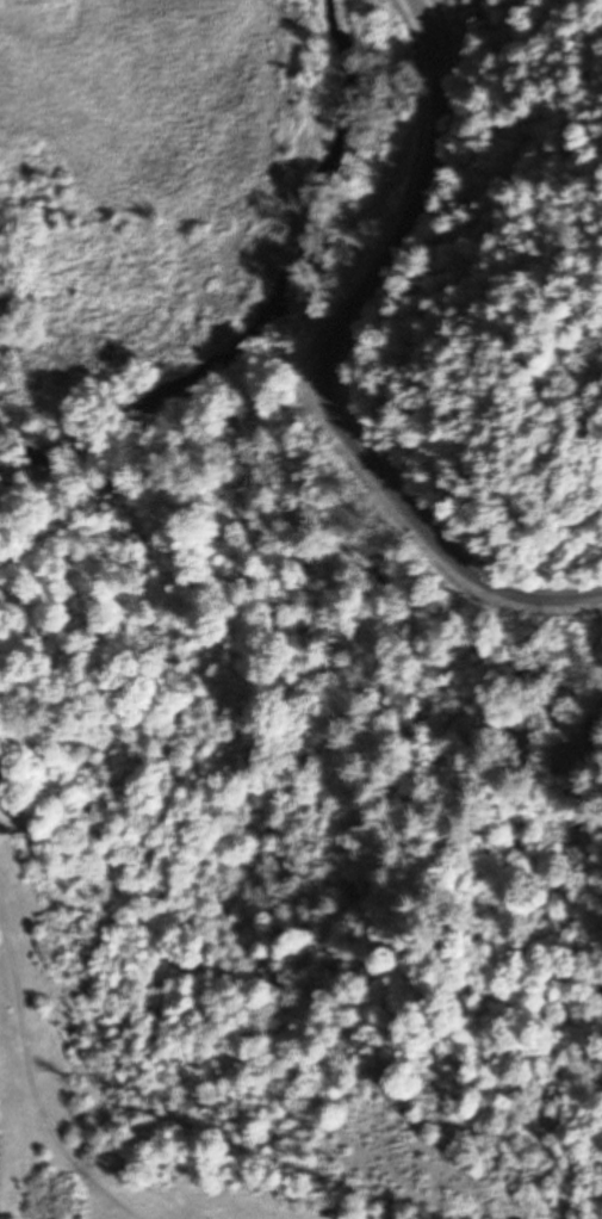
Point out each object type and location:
building: (392, 146)
road: (331, 359)

